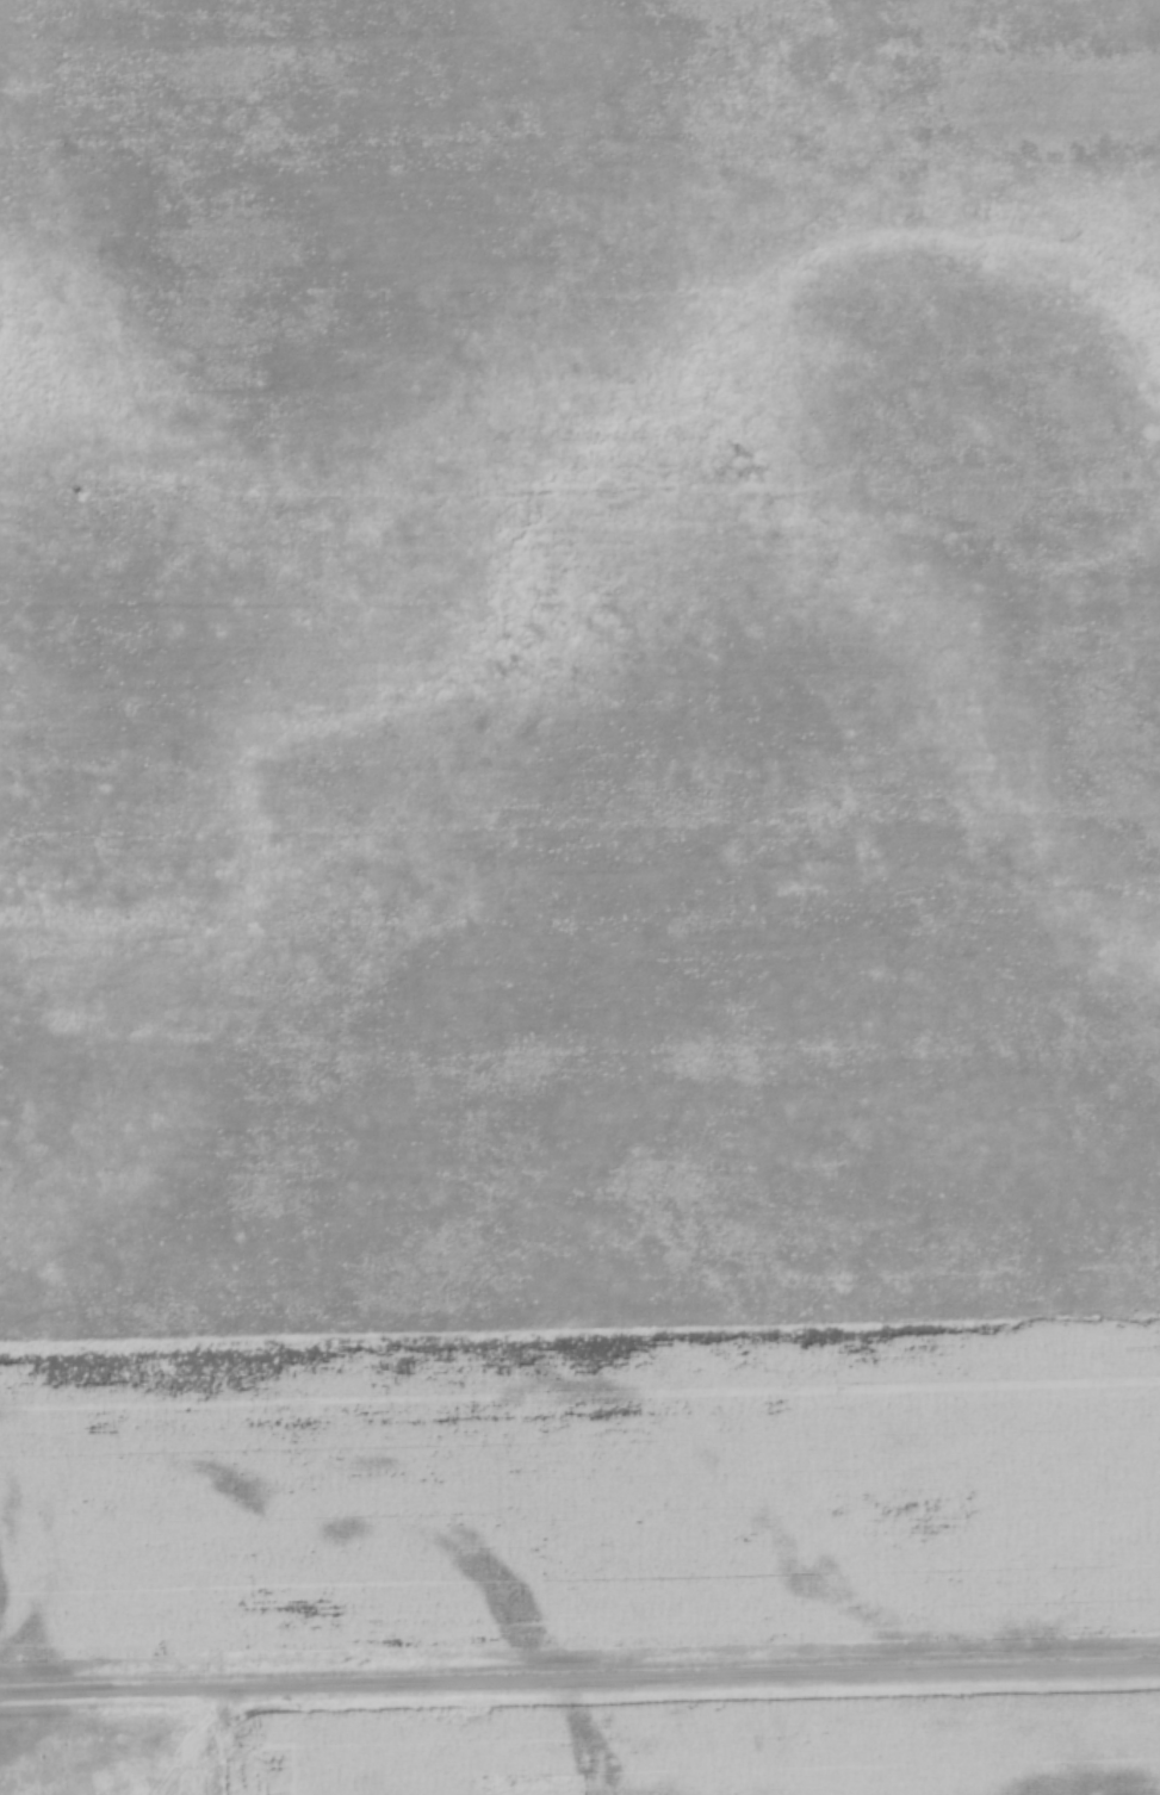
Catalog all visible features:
road: (579, 1677)

